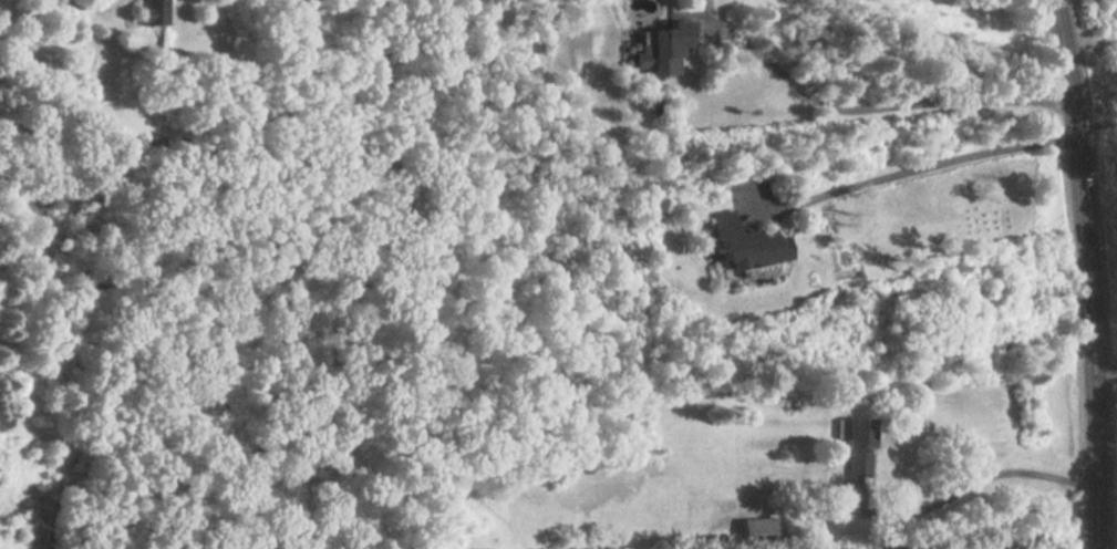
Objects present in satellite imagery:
building: (152, 12)
road: (1089, 41)
building: (660, 48)
road: (880, 54)
road: (806, 85)
road: (1001, 100)
road: (1097, 126)
road: (927, 158)
building: (748, 244)
road: (1092, 272)
road: (1107, 374)
building: (858, 447)
road: (966, 485)
building: (761, 529)

